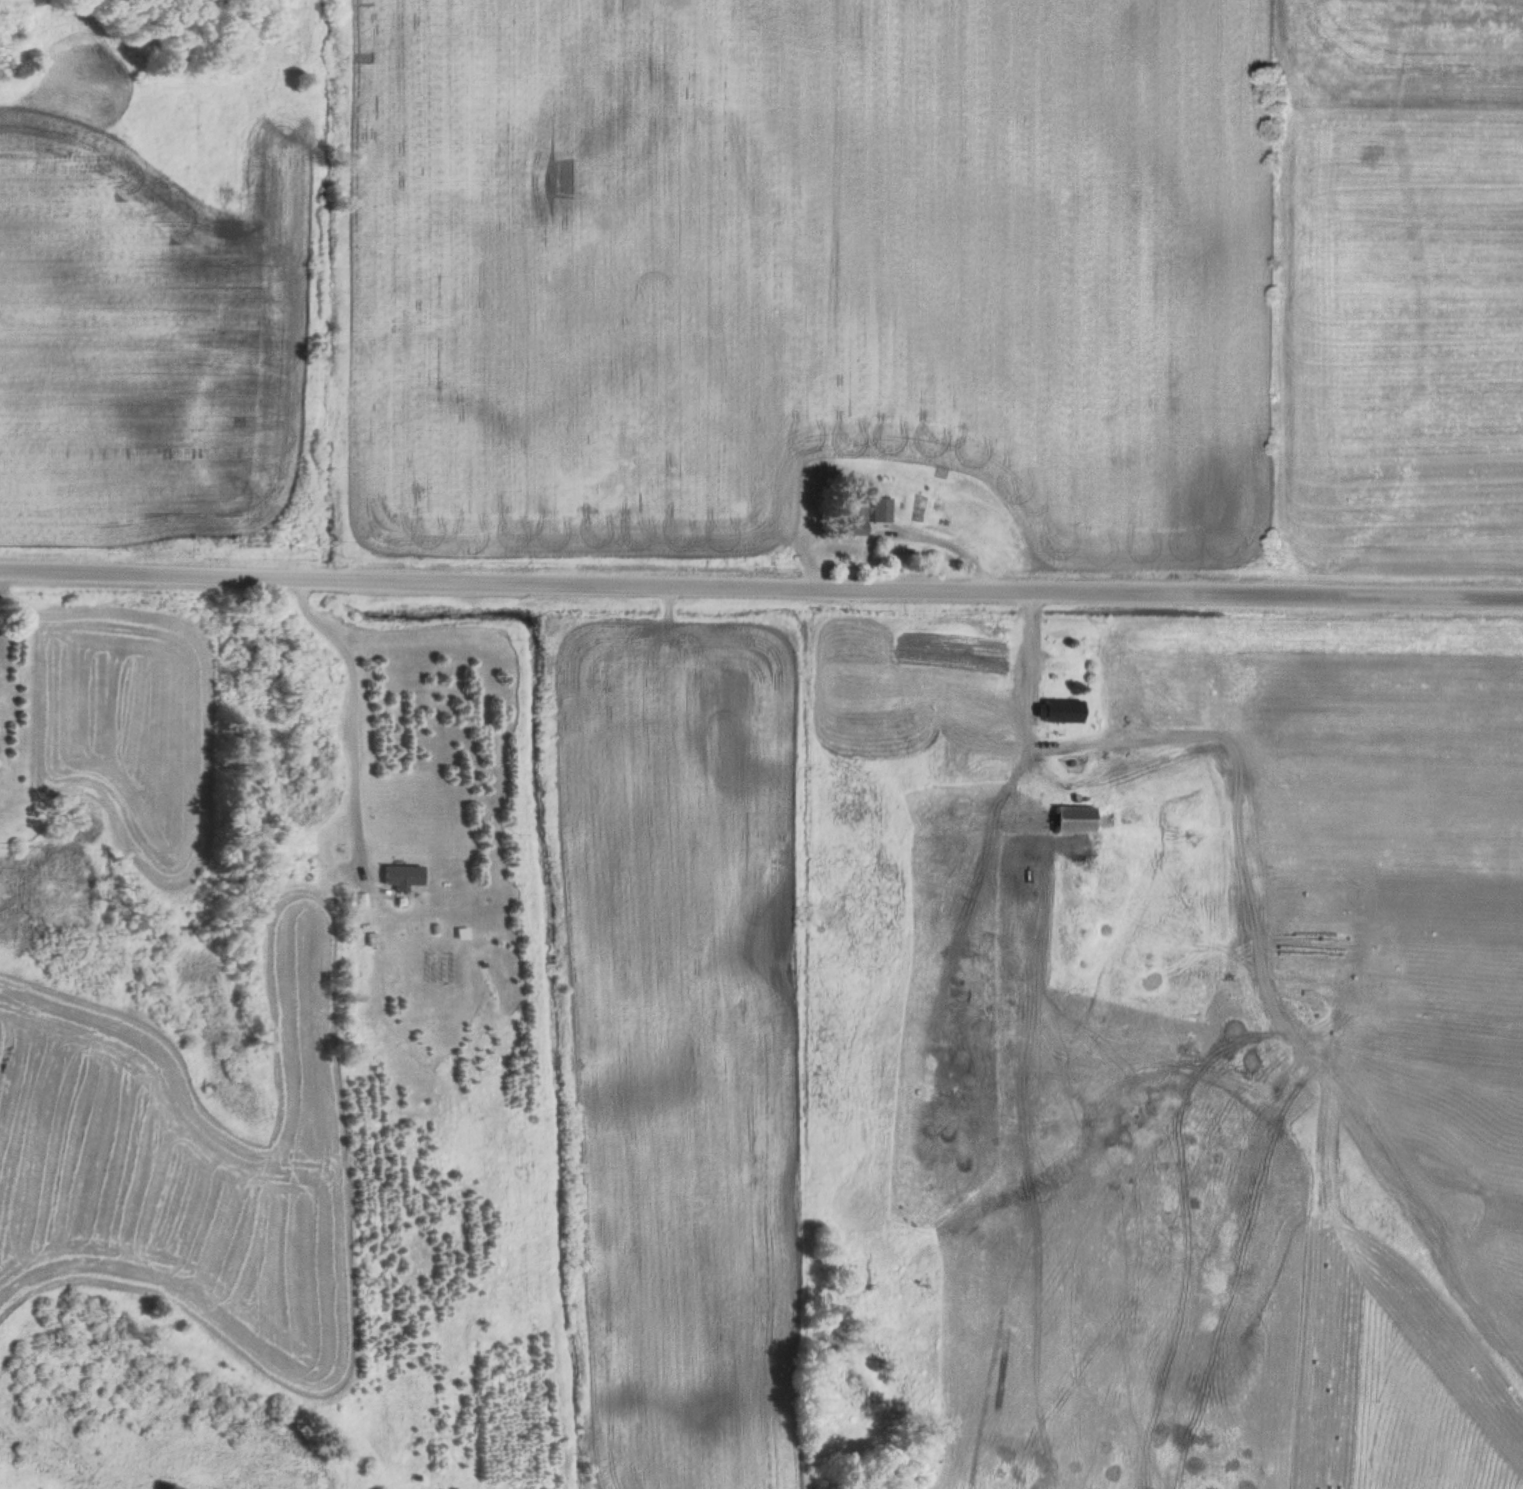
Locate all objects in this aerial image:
building: (862, 514)
road: (761, 587)
building: (1067, 820)
building: (394, 877)

